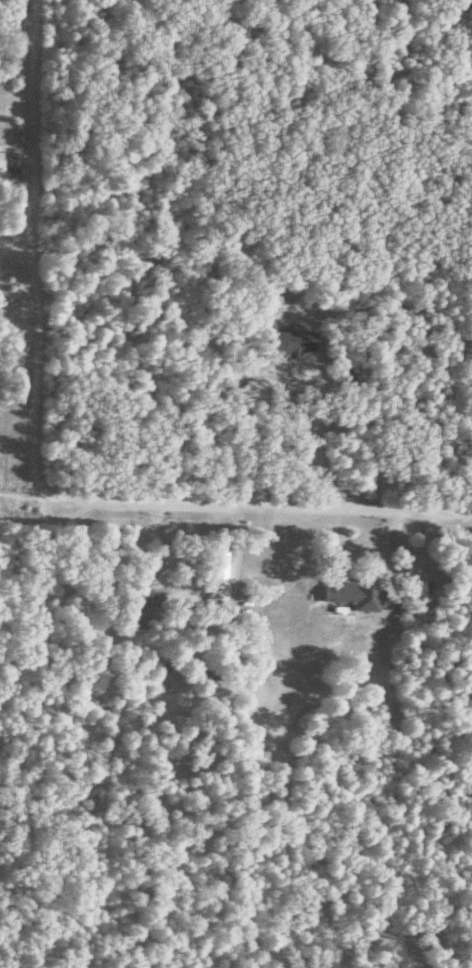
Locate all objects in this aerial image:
road: (276, 405)
road: (28, 467)
road: (19, 497)
building: (212, 573)
building: (351, 596)

